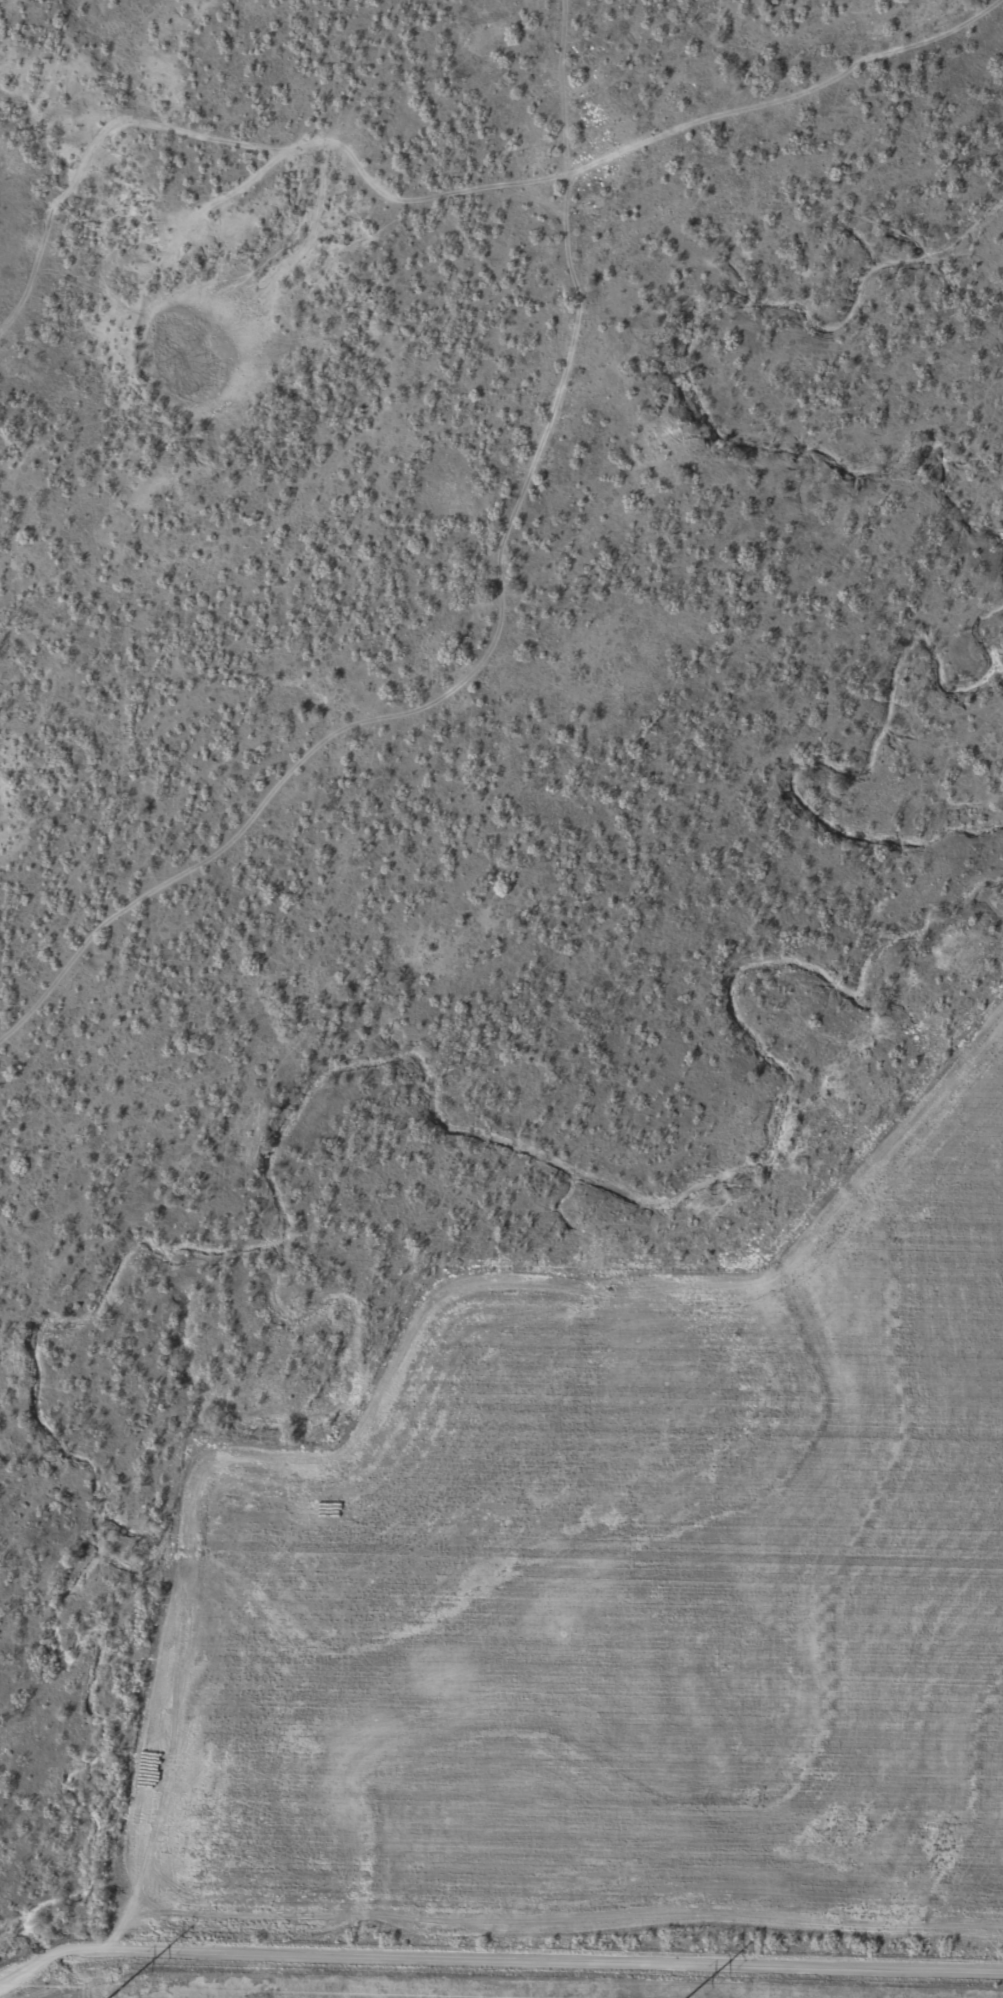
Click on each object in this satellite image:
road: (496, 1957)
power tower: (108, 1997)

